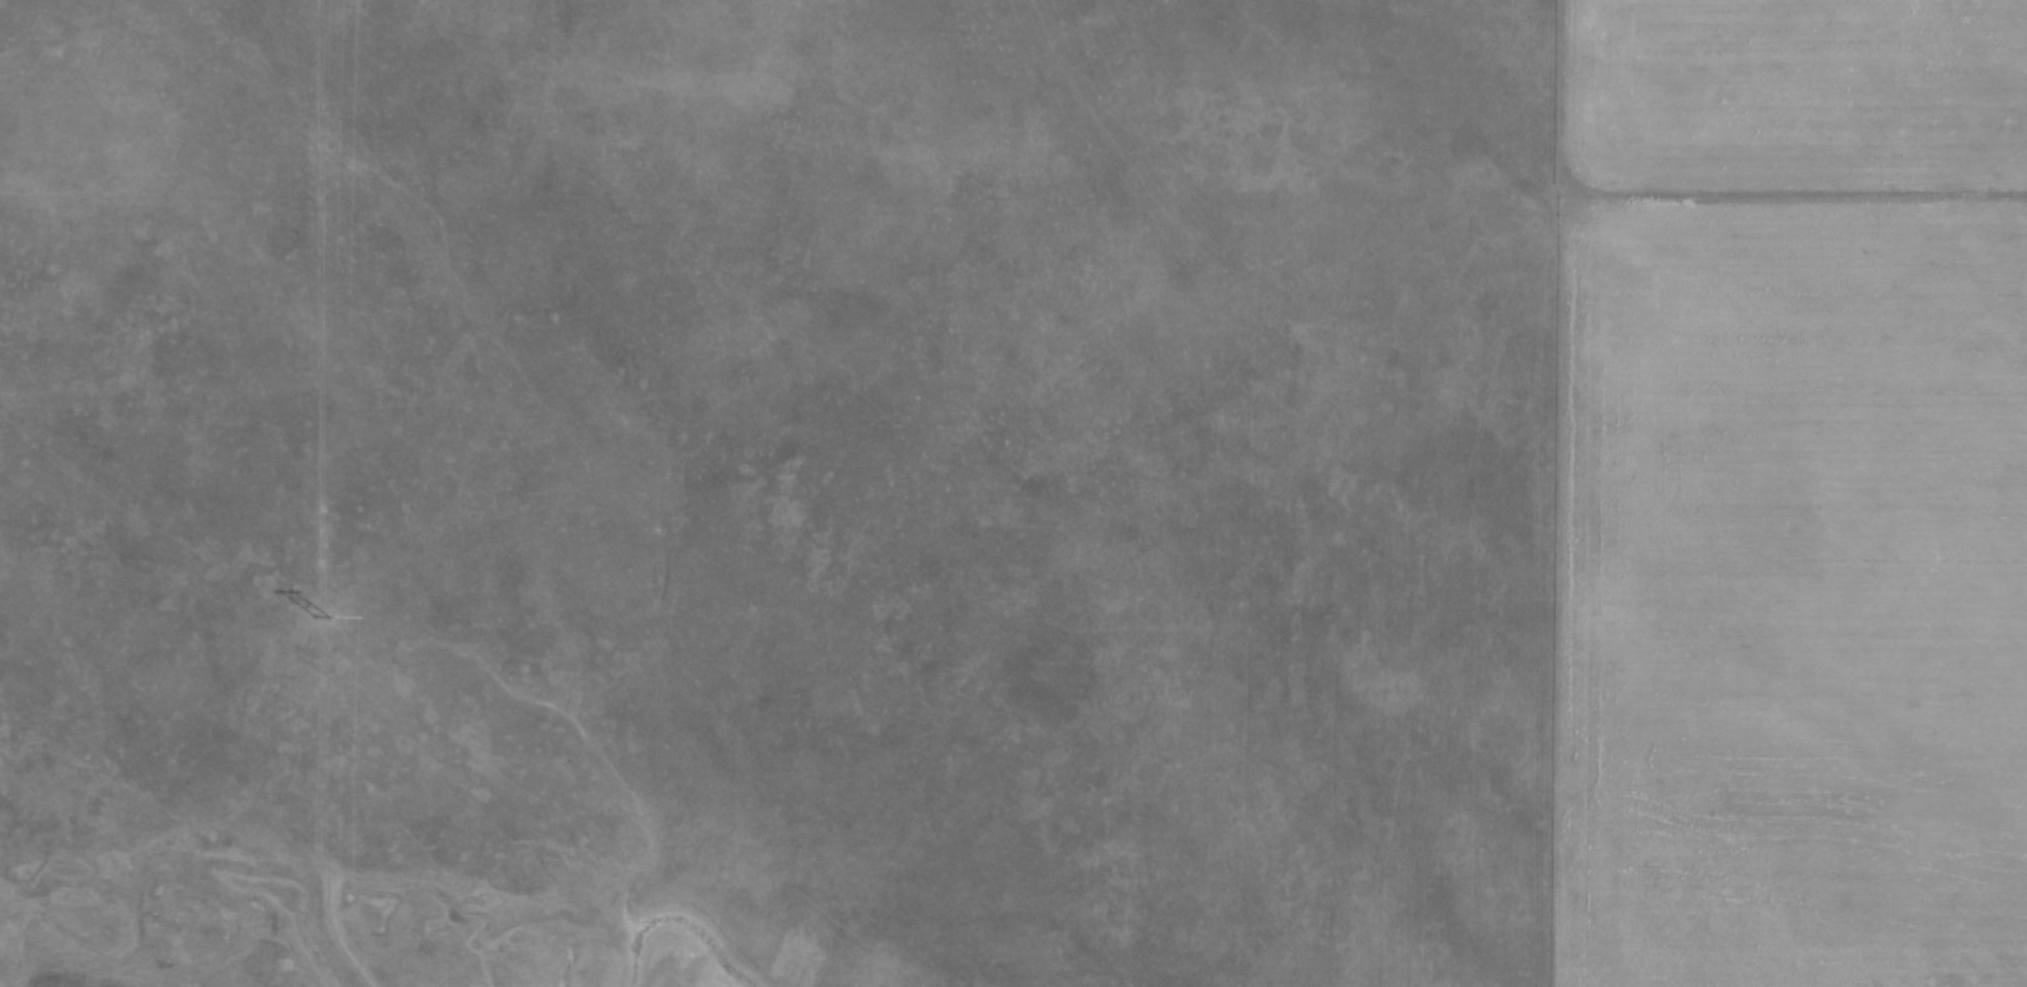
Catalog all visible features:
power tower: (323, 158)
power tower: (321, 735)

